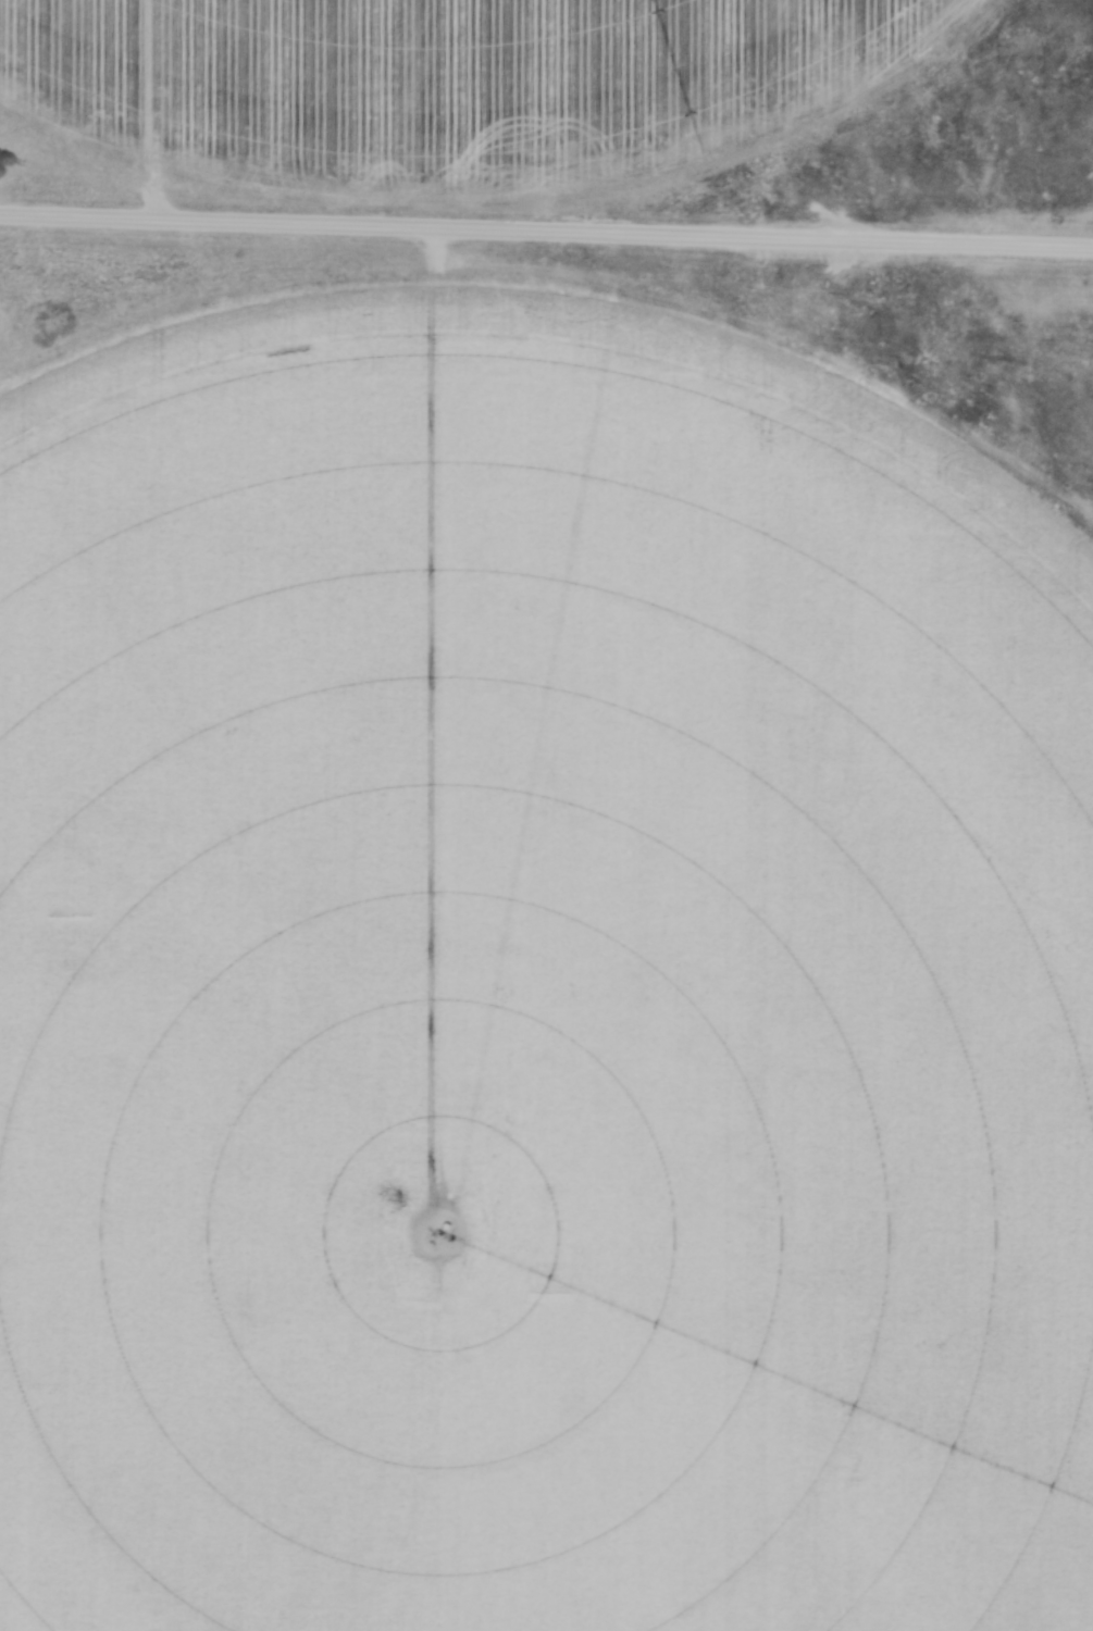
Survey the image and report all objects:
crop: (434, 83)
road: (546, 234)
crop: (526, 970)

